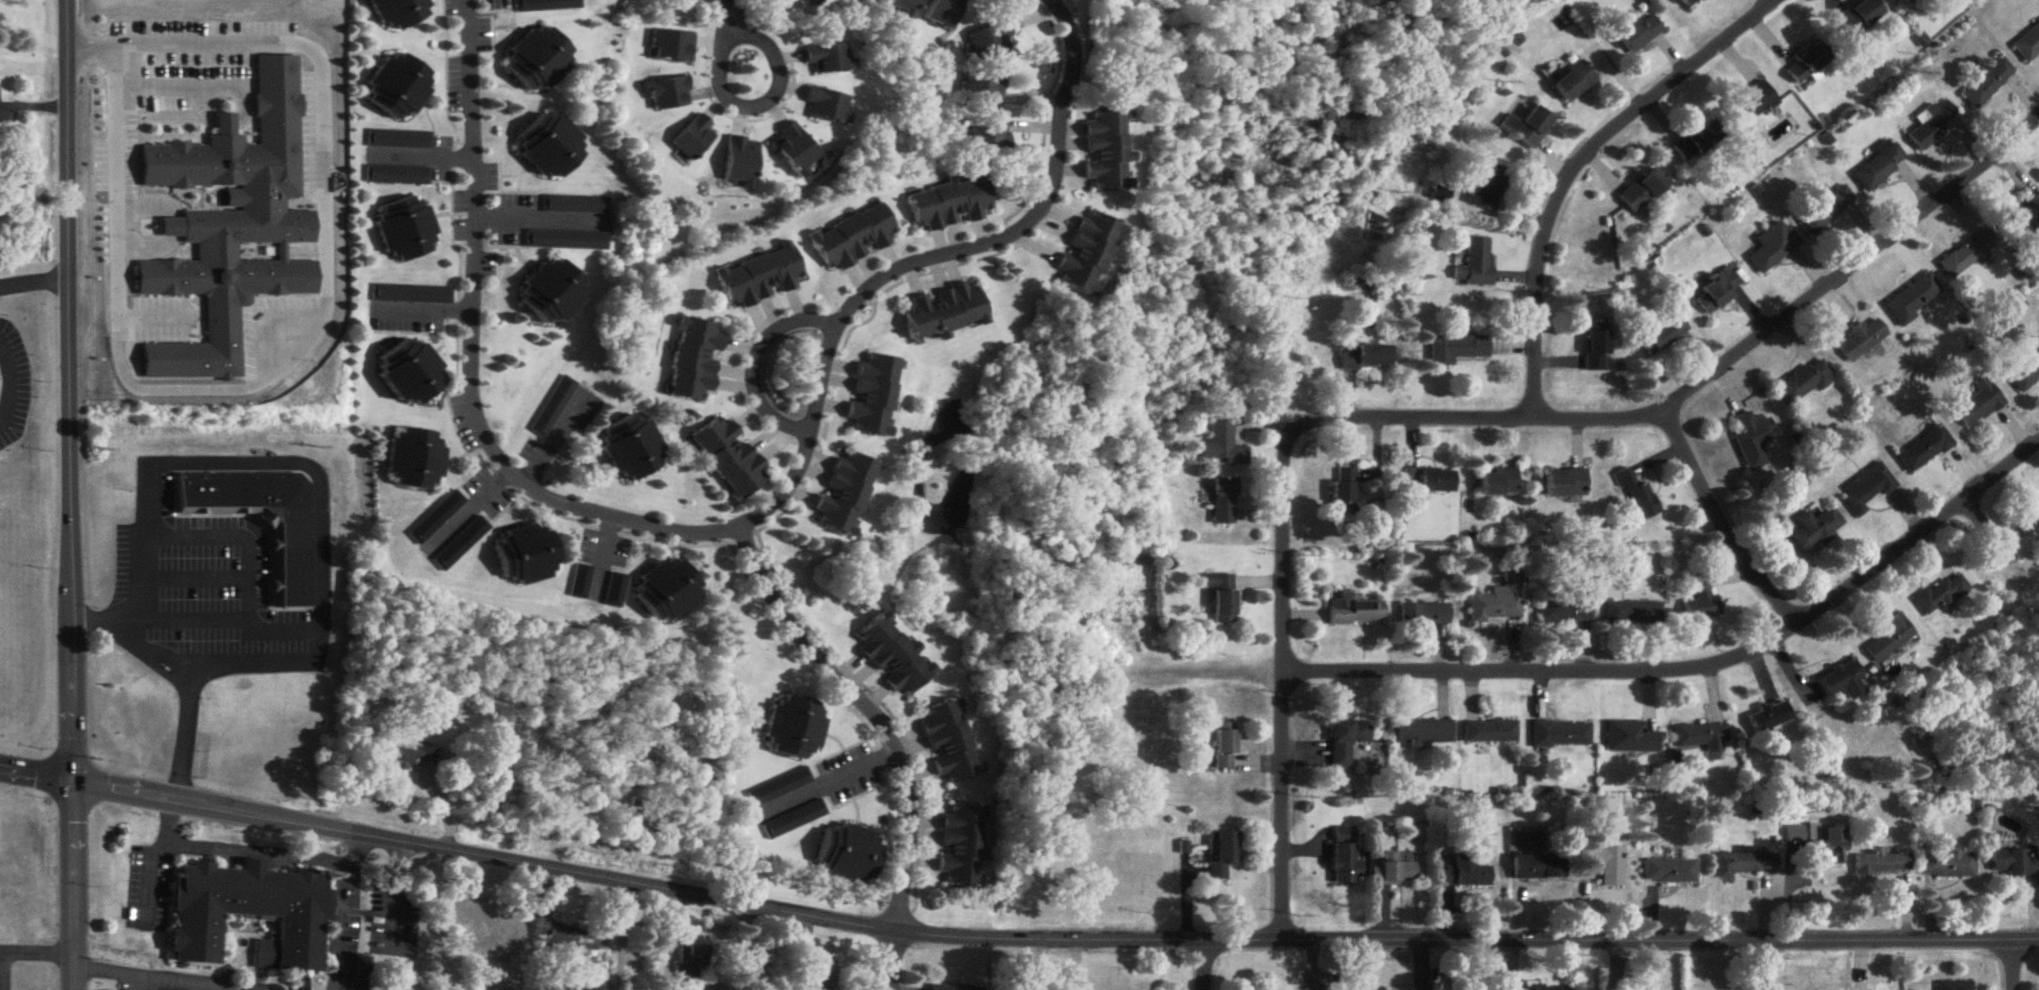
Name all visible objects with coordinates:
building: (1687, 3)
building: (546, 6)
building: (905, 8)
building: (399, 11)
building: (943, 13)
building: (1860, 16)
road: (722, 17)
building: (1639, 33)
building: (989, 42)
building: (2027, 43)
building: (828, 58)
building: (538, 60)
building: (1806, 64)
road: (179, 82)
building: (1572, 82)
building: (1987, 83)
building: (399, 87)
building: (982, 89)
road: (770, 99)
building: (1754, 102)
building: (827, 106)
building: (1933, 124)
building: (1527, 126)
building: (987, 134)
building: (694, 138)
building: (387, 140)
building: (1699, 141)
building: (551, 146)
building: (1106, 150)
road: (1574, 165)
building: (1879, 166)
building: (385, 175)
building: (1492, 189)
building: (1643, 190)
road: (145, 197)
building: (949, 203)
building: (1825, 210)
road: (536, 217)
building: (232, 225)
building: (406, 229)
building: (853, 237)
road: (143, 242)
building: (1772, 250)
building: (1087, 253)
building: (1967, 253)
road: (928, 261)
building: (1476, 263)
building: (760, 276)
road: (33, 284)
building: (552, 291)
building: (1716, 291)
building: (1911, 299)
road: (429, 305)
building: (944, 311)
building: (1665, 332)
road: (304, 334)
building: (1861, 340)
building: (1595, 347)
building: (1456, 349)
building: (1364, 357)
building: (696, 359)
road: (759, 360)
road: (476, 365)
building: (412, 372)
building: (2025, 374)
road: (8, 382)
building: (1804, 382)
road: (1690, 392)
building: (872, 395)
building: (1977, 405)
road: (552, 436)
building: (1752, 440)
building: (1225, 445)
building: (633, 448)
building: (1923, 450)
building: (729, 457)
building: (414, 459)
road: (318, 475)
building: (1428, 480)
building: (1498, 482)
building: (1565, 483)
building: (1866, 489)
building: (1343, 490)
building: (845, 493)
road: (69, 495)
building: (1637, 495)
building: (1224, 502)
building: (2036, 510)
road: (1720, 525)
building: (1815, 529)
road: (240, 535)
building: (525, 554)
building: (291, 563)
building: (666, 591)
building: (1942, 595)
building: (1221, 597)
building: (1699, 599)
building: (1498, 602)
building: (1355, 612)
building: (1565, 612)
building: (1424, 614)
building: (1628, 614)
building: (1889, 639)
building: (893, 656)
road: (268, 666)
road: (1697, 670)
road: (183, 672)
building: (1842, 681)
road: (1284, 706)
road: (875, 715)
building: (1767, 721)
building: (792, 728)
building: (1490, 732)
building: (1422, 733)
building: (1561, 735)
building: (1700, 737)
building: (1629, 739)
building: (949, 741)
building: (1347, 741)
building: (1224, 746)
building: (406, 757)
road: (820, 779)
building: (778, 788)
building: (792, 820)
building: (1794, 834)
road: (258, 845)
building: (961, 846)
building: (1830, 846)
building: (848, 854)
building: (1220, 854)
building: (1344, 856)
road: (149, 858)
building: (1881, 863)
building: (2014, 863)
building: (1605, 864)
building: (1743, 864)
building: (1948, 865)
building: (1539, 867)
building: (1394, 871)
building: (1669, 871)
building: (1466, 873)
road: (340, 913)
building: (248, 914)
building: (476, 932)
building: (566, 935)
road: (1012, 936)
road: (618, 937)
road: (36, 957)
road: (889, 962)
road: (2015, 963)
building: (691, 964)
road: (1204, 965)
road: (1617, 966)
road: (1761, 966)
road: (108, 967)
road: (1, 973)
building: (1954, 986)
building: (255, 987)
building: (951, 988)
building: (1539, 988)

